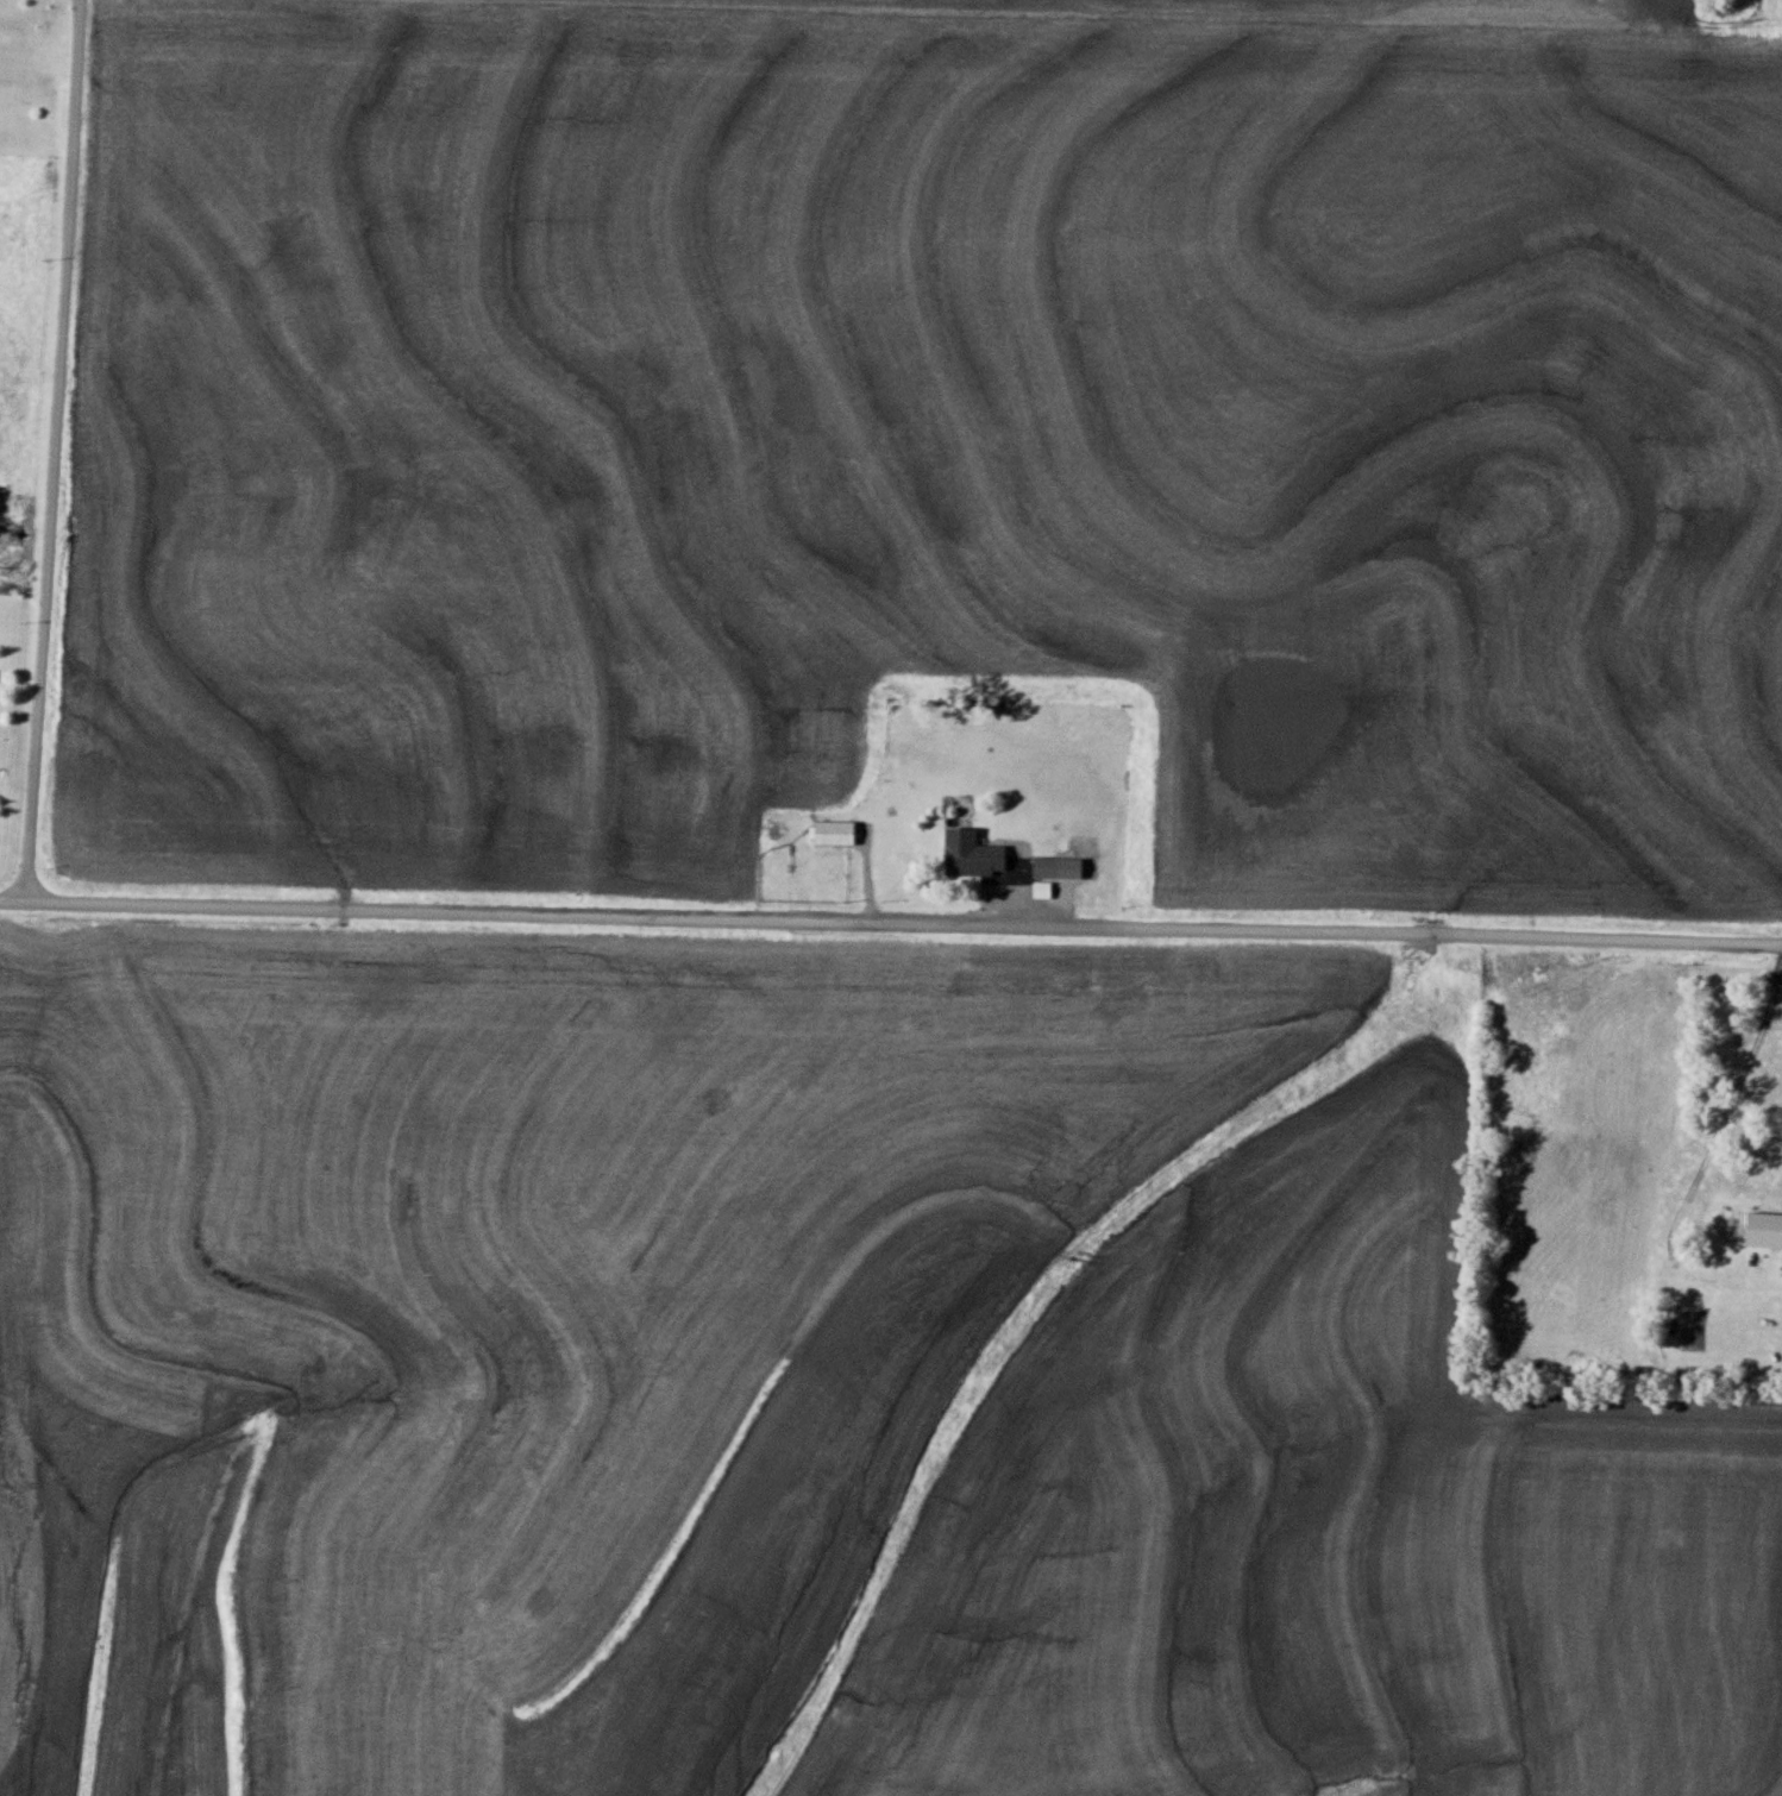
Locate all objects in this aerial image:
road: (56, 453)
building: (835, 833)
building: (971, 858)
building: (1042, 890)
road: (890, 925)
building: (1764, 1230)

